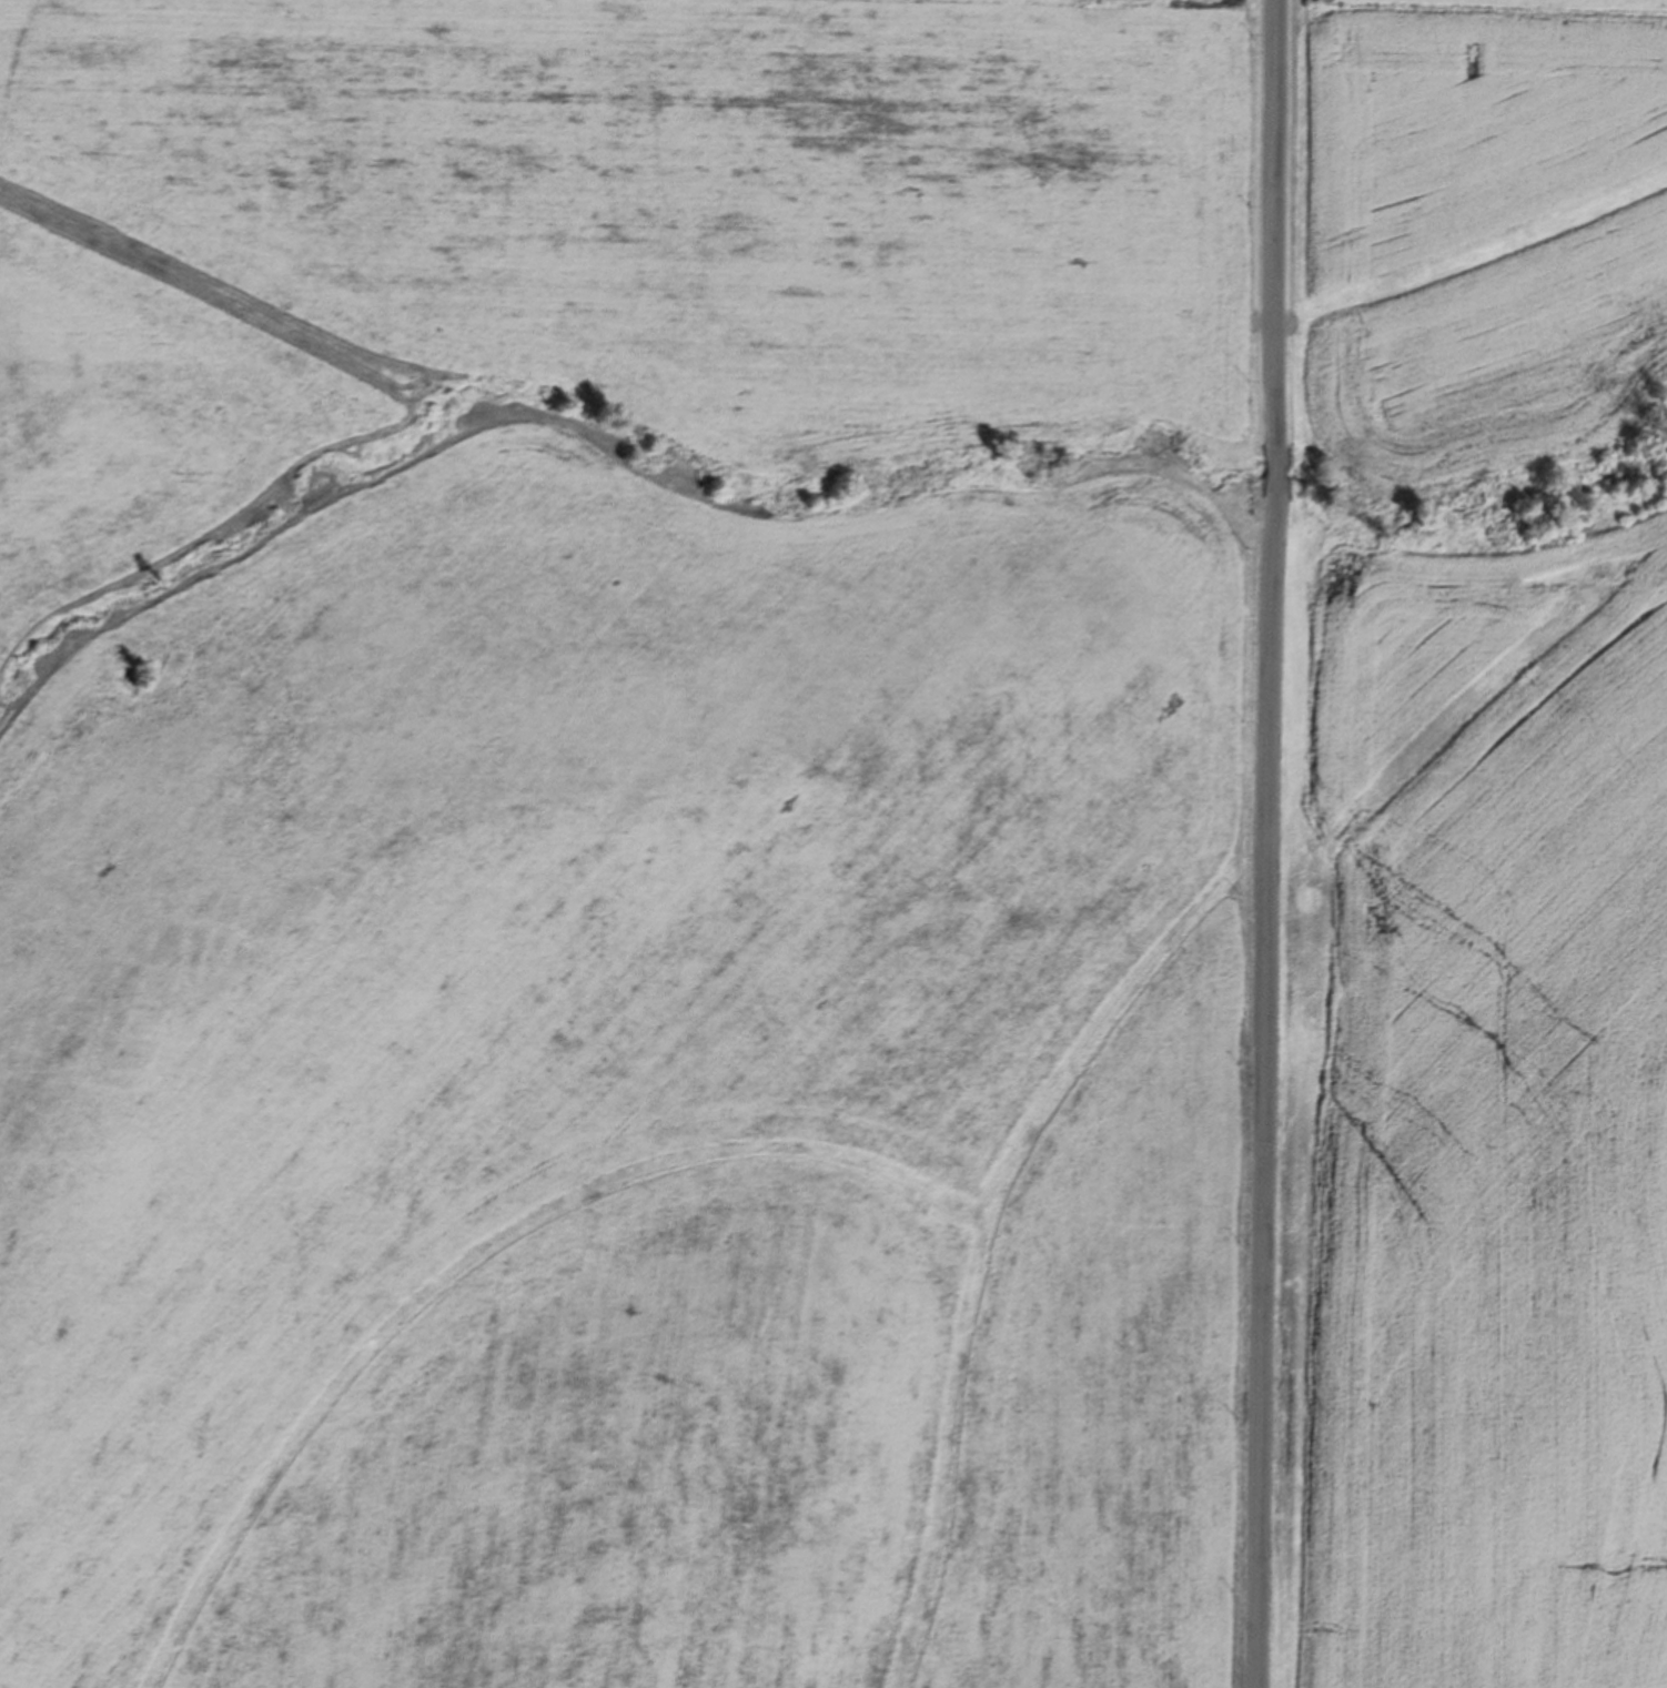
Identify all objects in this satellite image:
road: (1267, 843)

